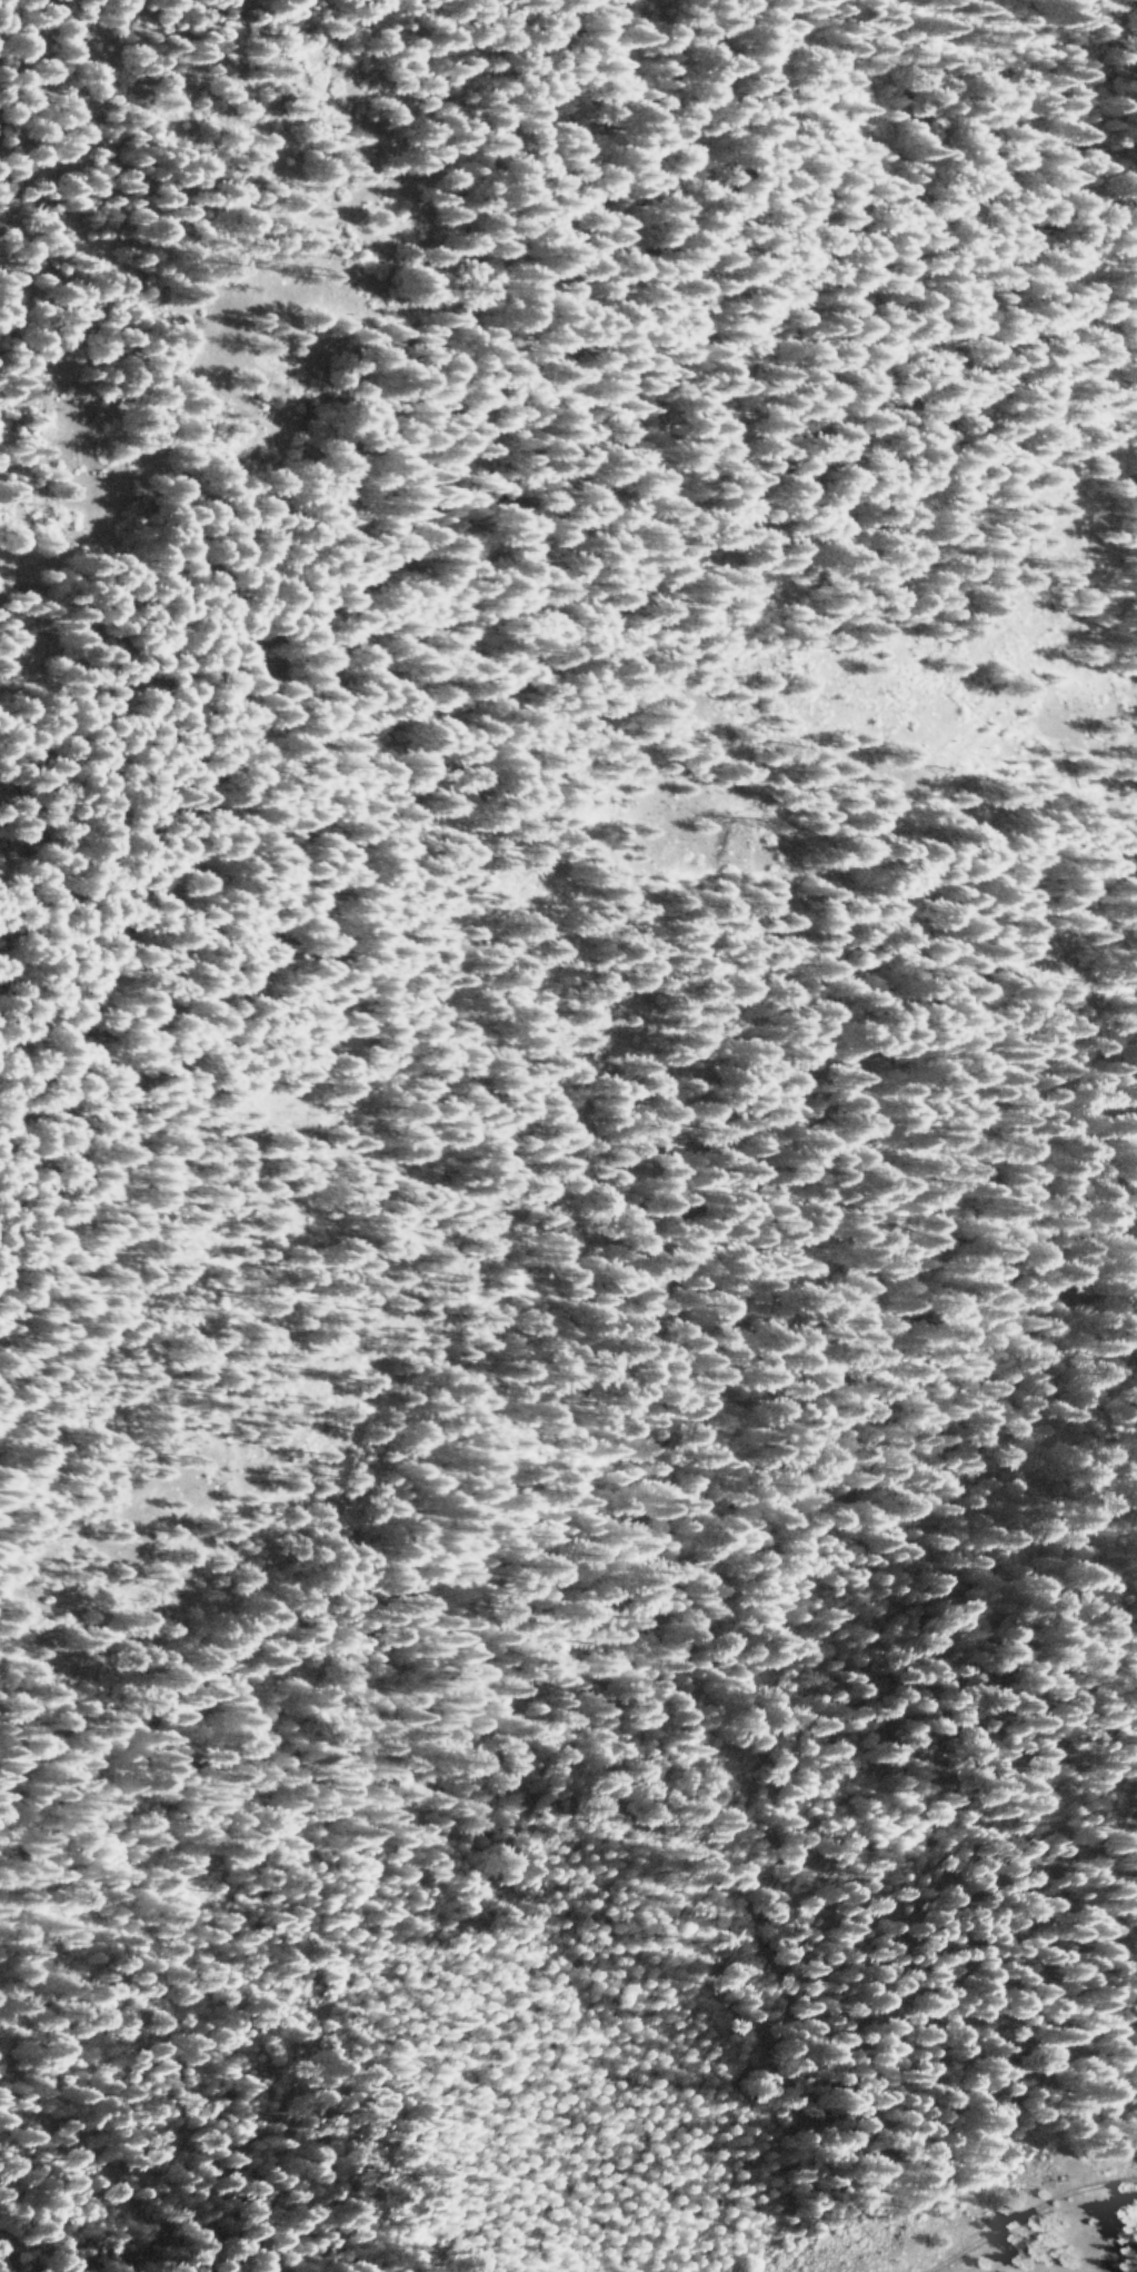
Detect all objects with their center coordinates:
road: (1031, 2216)

